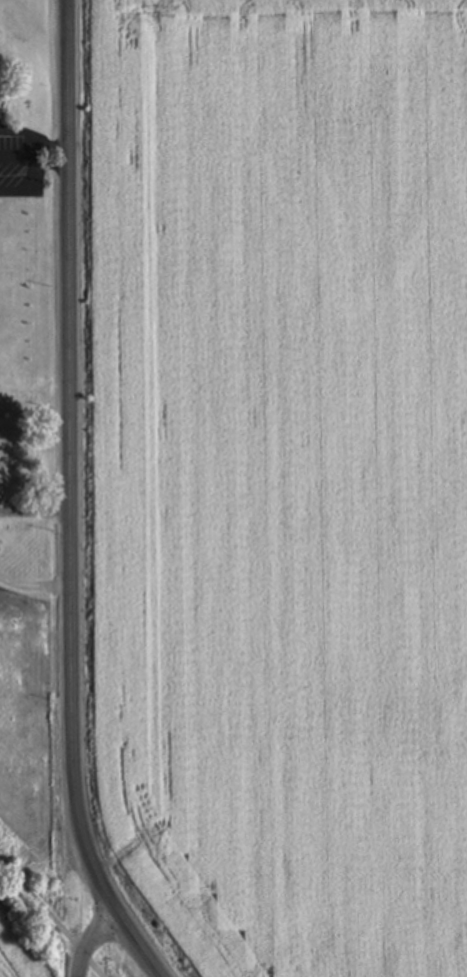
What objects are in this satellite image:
road: (27, 134)
road: (19, 156)
road: (53, 156)
parking lot: (24, 161)
road: (34, 172)
road: (14, 191)
road: (71, 426)
road: (35, 511)
road: (75, 914)
road: (121, 915)
road: (51, 919)

